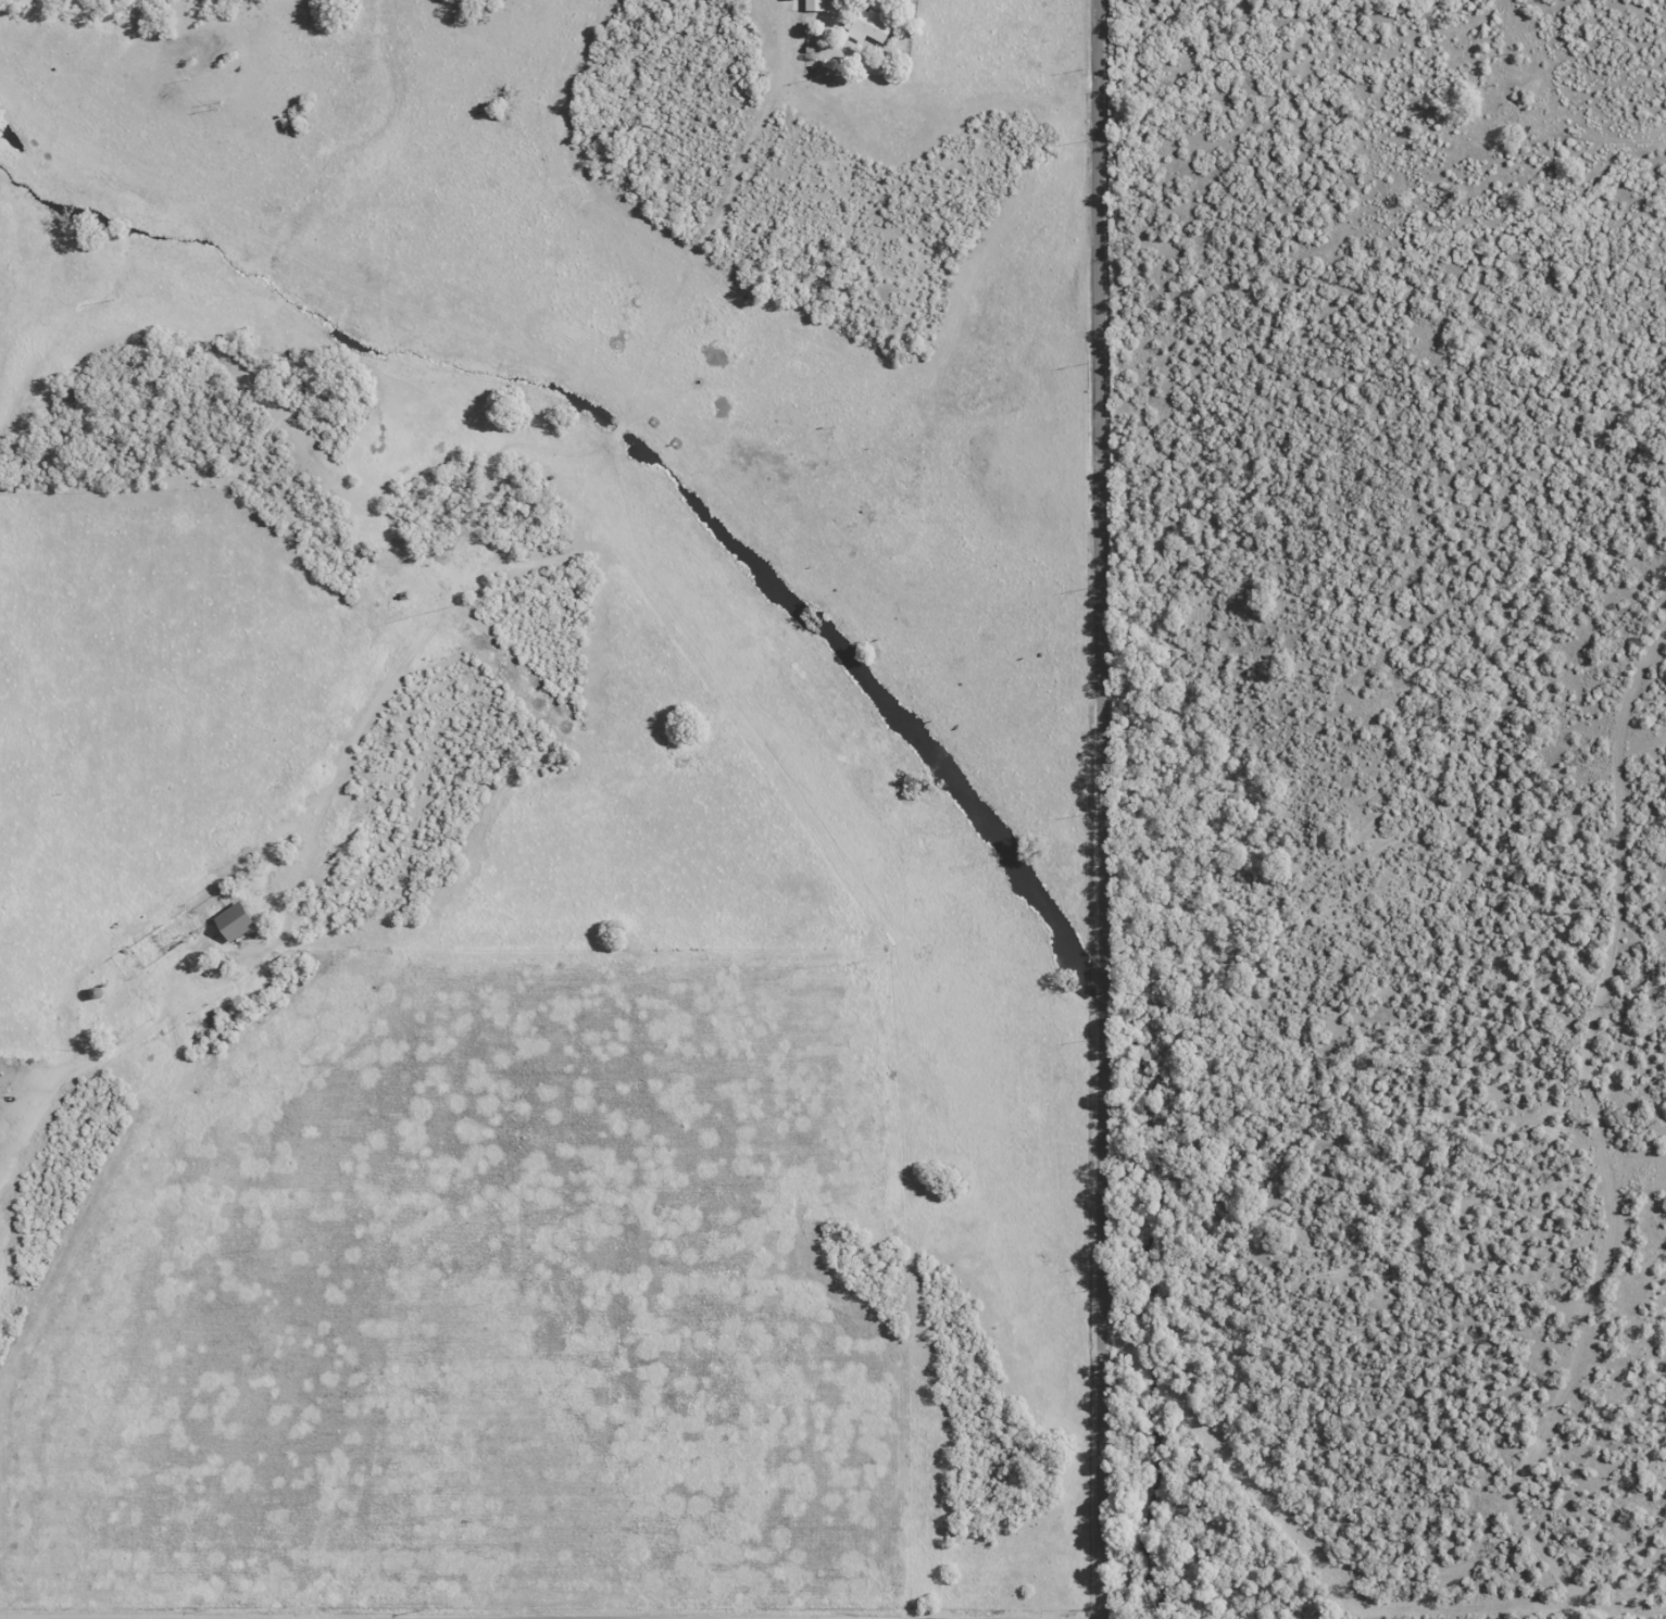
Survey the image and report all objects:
building: (816, 5)
building: (869, 27)
building: (208, 54)
road: (1101, 810)
building: (238, 921)
road: (60, 1129)

